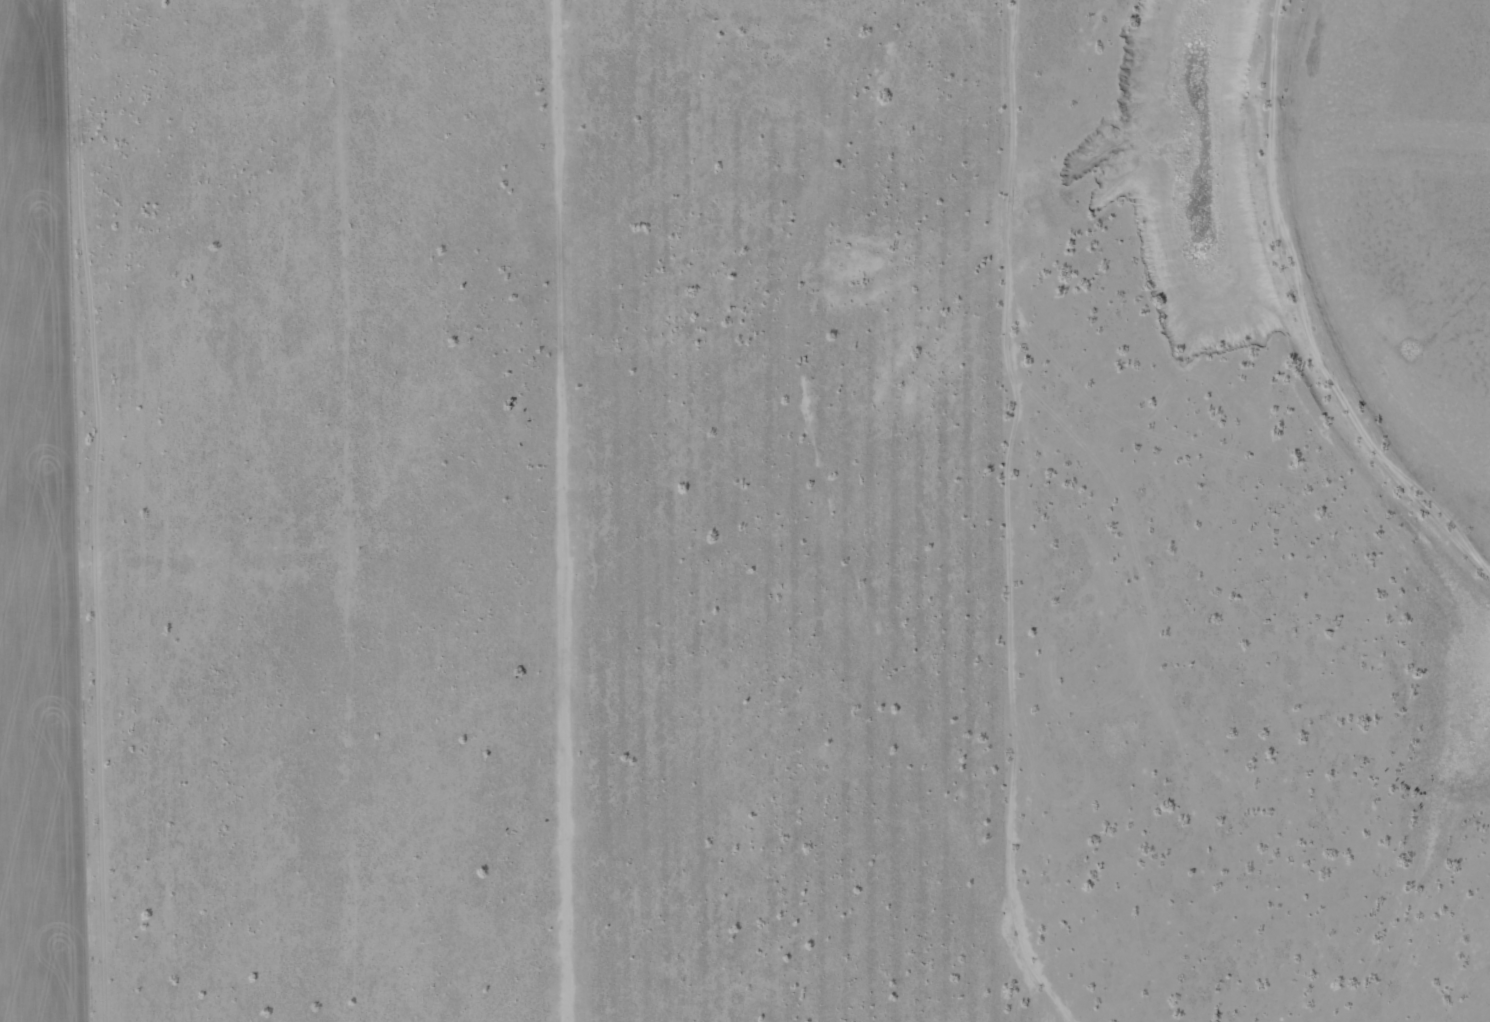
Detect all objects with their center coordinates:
road: (1328, 284)

